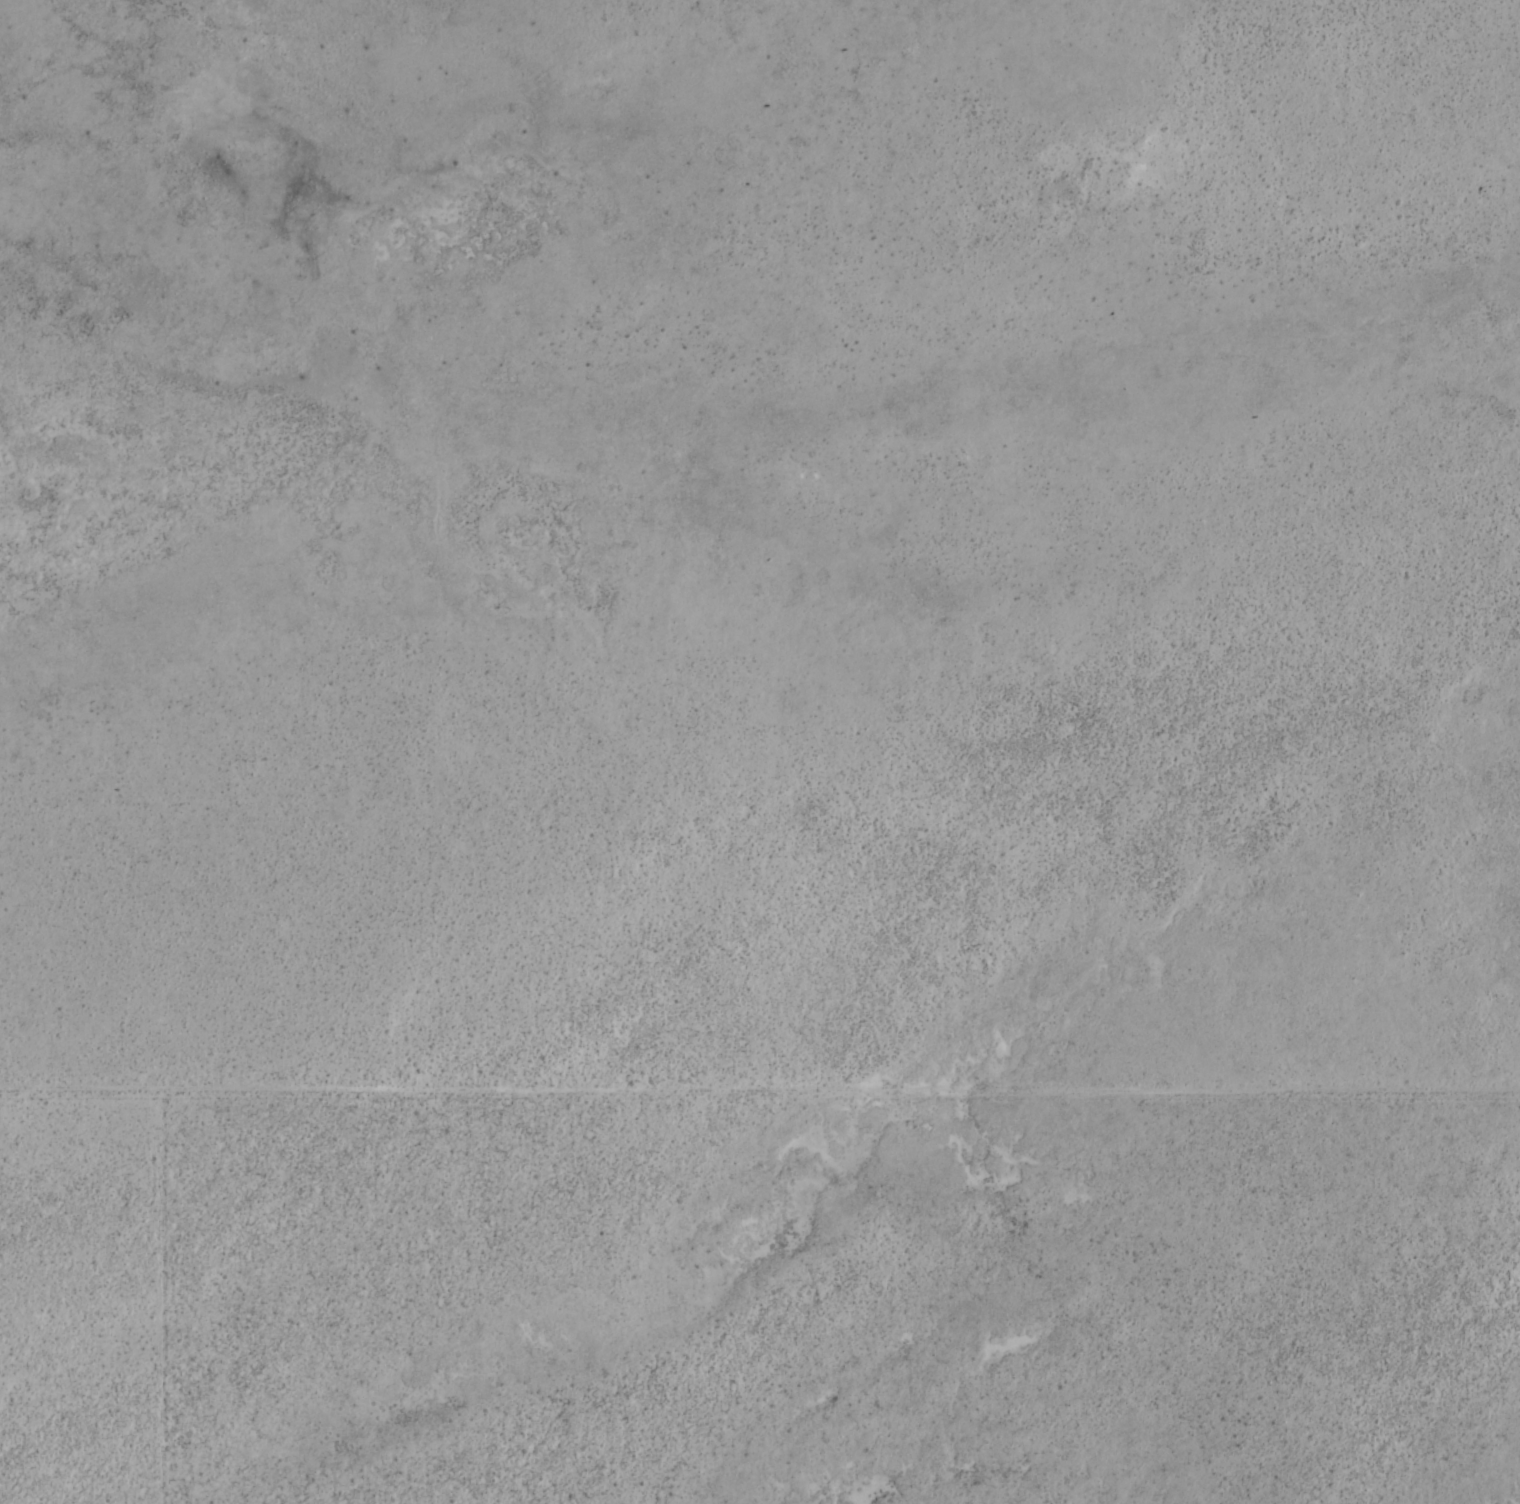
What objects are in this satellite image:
road: (759, 1116)

